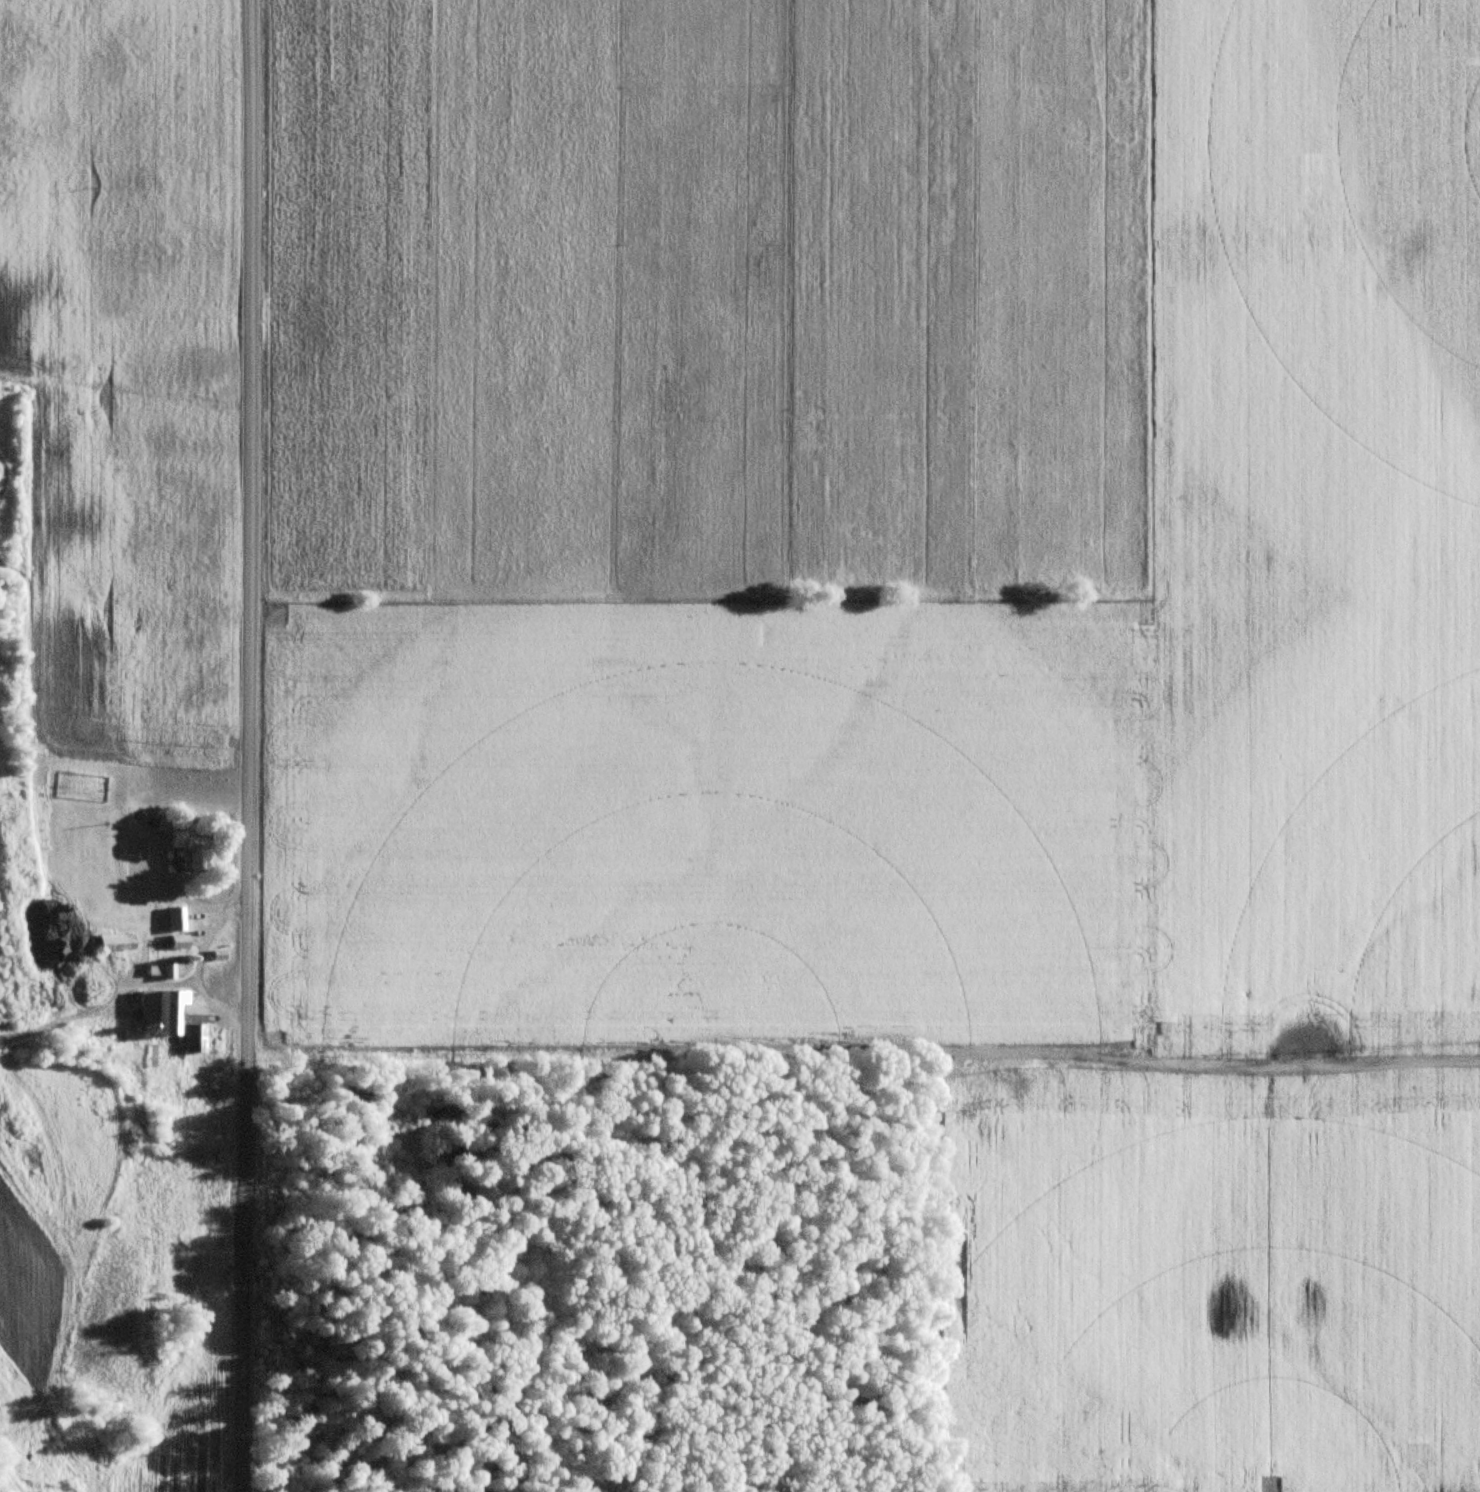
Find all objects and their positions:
road: (247, 746)
building: (222, 780)
building: (197, 853)
building: (177, 919)
building: (116, 942)
building: (179, 942)
road: (195, 965)
building: (218, 976)
building: (181, 1018)

